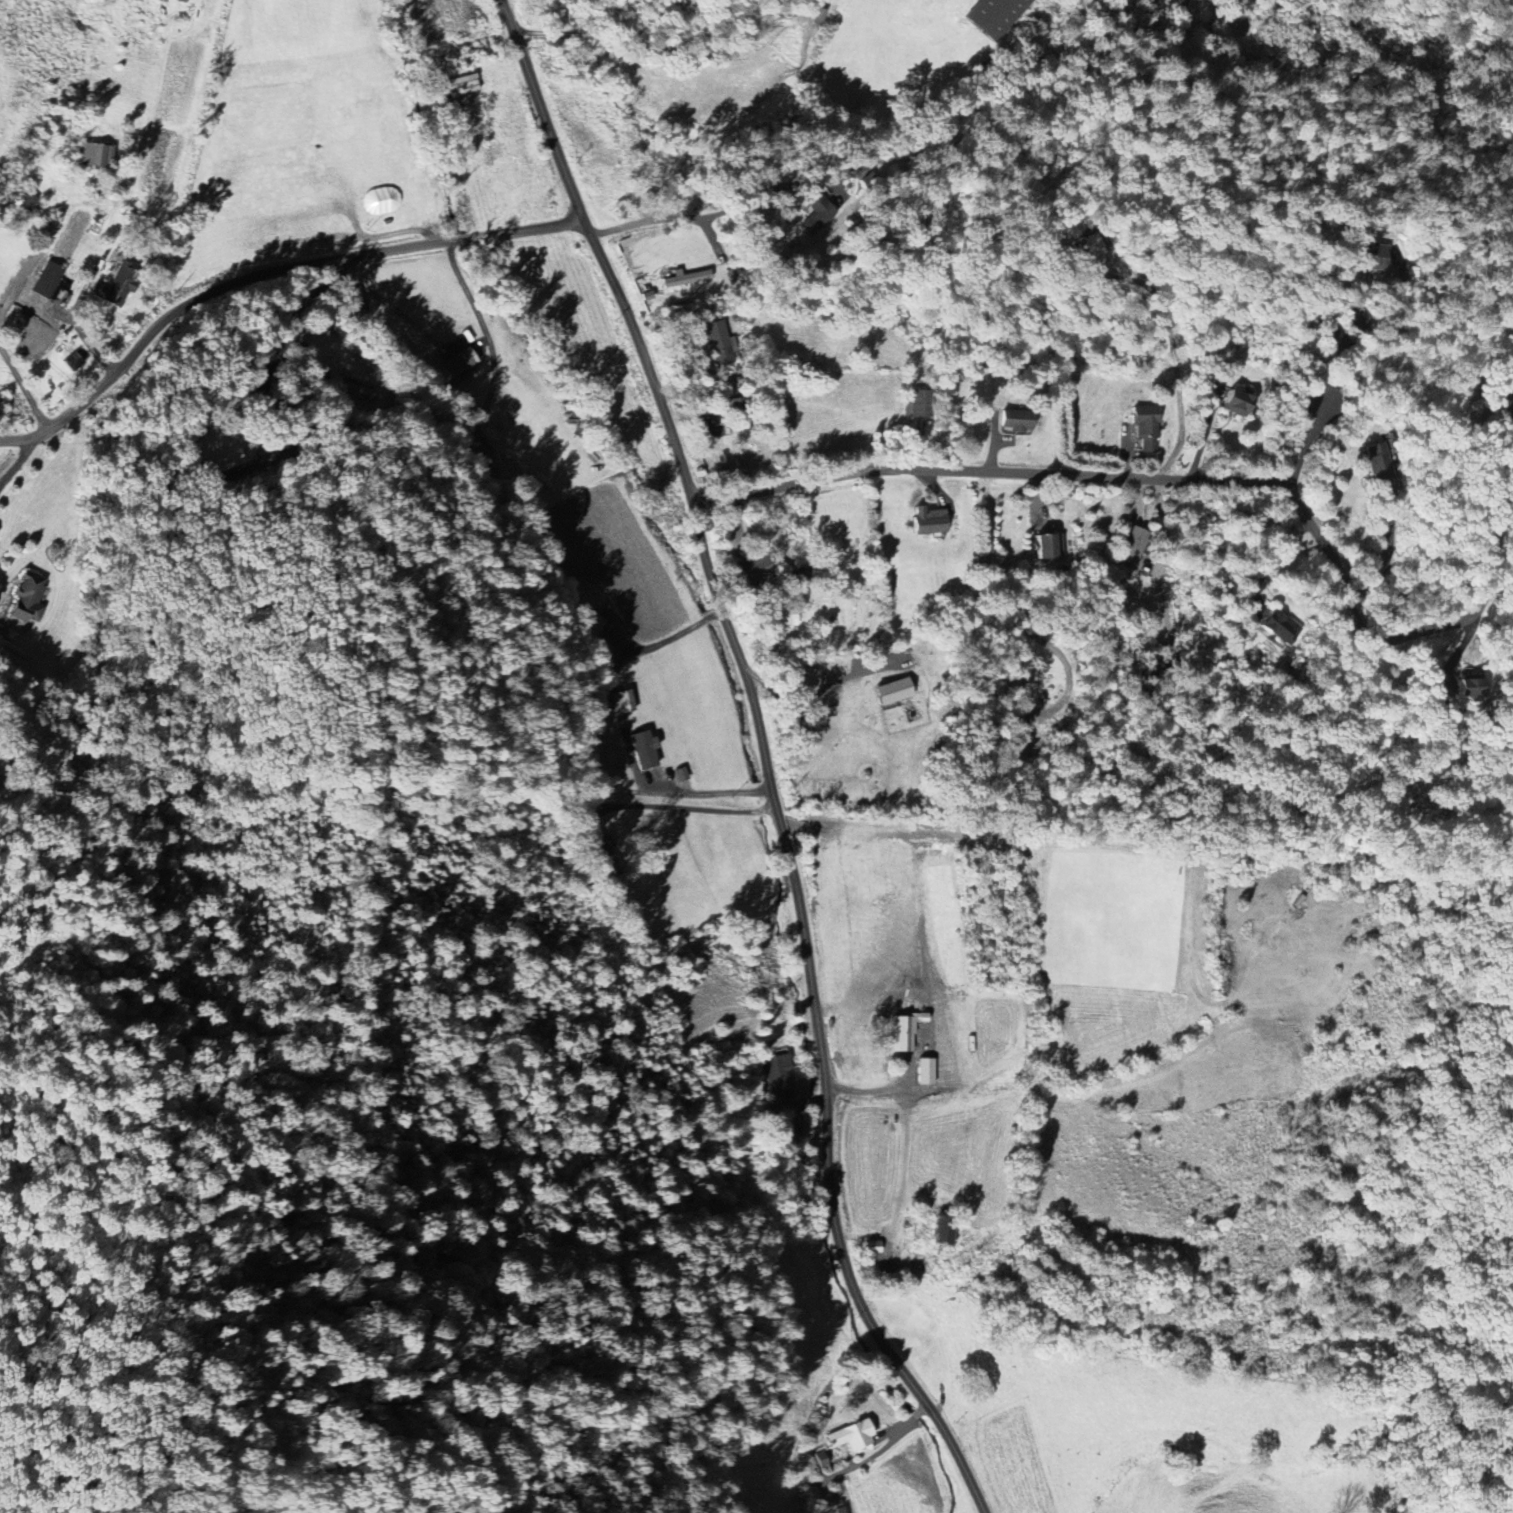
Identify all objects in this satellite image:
road: (508, 14)
building: (993, 15)
road: (658, 43)
building: (92, 155)
building: (26, 203)
road: (711, 215)
building: (1092, 245)
building: (1371, 256)
road: (266, 273)
building: (679, 278)
building: (46, 280)
building: (111, 291)
road: (1387, 332)
building: (717, 342)
road: (1172, 352)
building: (458, 361)
building: (71, 362)
building: (333, 380)
road: (23, 388)
building: (361, 391)
road: (246, 396)
building: (1236, 402)
building: (1507, 411)
building: (1016, 420)
building: (1145, 427)
road: (1202, 433)
road: (1308, 436)
road: (22, 454)
building: (485, 458)
building: (220, 462)
road: (1185, 478)
building: (927, 520)
road: (1162, 527)
building: (1048, 545)
building: (1135, 550)
road: (1387, 550)
road: (1273, 562)
building: (757, 567)
road: (1502, 586)
building: (25, 596)
building: (584, 618)
building: (1277, 627)
road: (665, 638)
building: (1469, 687)
building: (892, 690)
road: (808, 699)
building: (621, 701)
building: (642, 748)
road: (768, 773)
building: (680, 774)
road: (705, 793)
road: (679, 807)
building: (608, 853)
building: (908, 1024)
building: (925, 1071)
building: (777, 1074)
building: (942, 1233)
building: (872, 1247)
building: (851, 1436)

